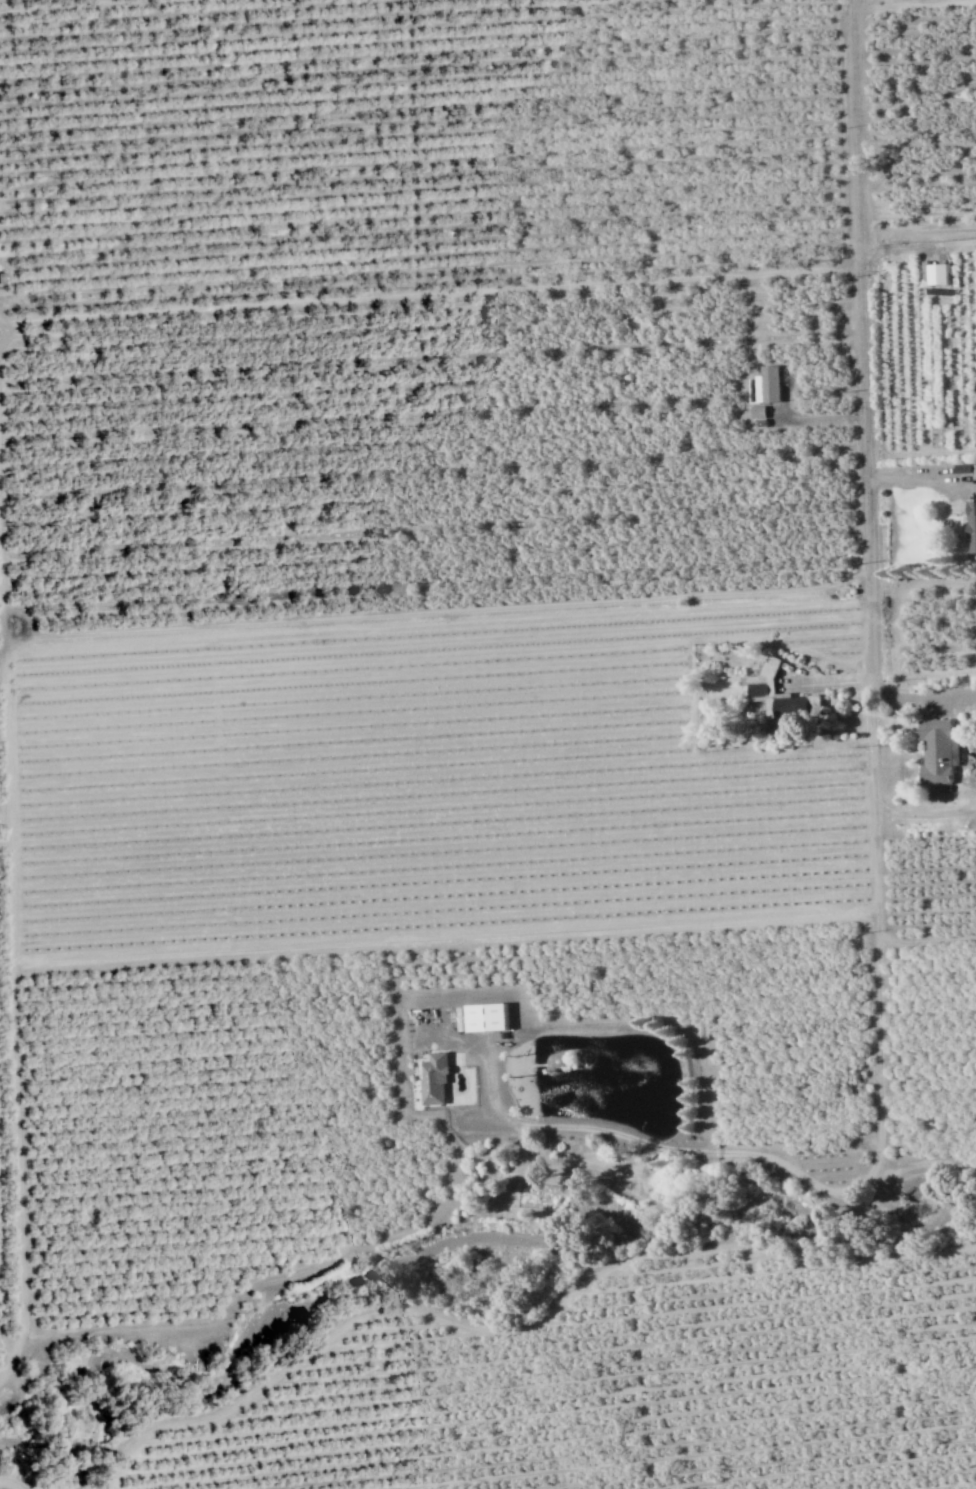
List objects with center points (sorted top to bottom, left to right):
road: (914, 2)
building: (936, 274)
road: (428, 293)
building: (765, 385)
road: (918, 480)
building: (970, 527)
road: (868, 570)
road: (434, 611)
road: (920, 676)
road: (825, 682)
building: (778, 695)
road: (921, 698)
building: (936, 751)
road: (924, 815)
road: (926, 942)
road: (443, 945)
road: (12, 1009)
building: (483, 1016)
building: (431, 1079)
road: (709, 1150)
road: (528, 1327)
road: (13, 1357)
road: (11, 1482)

